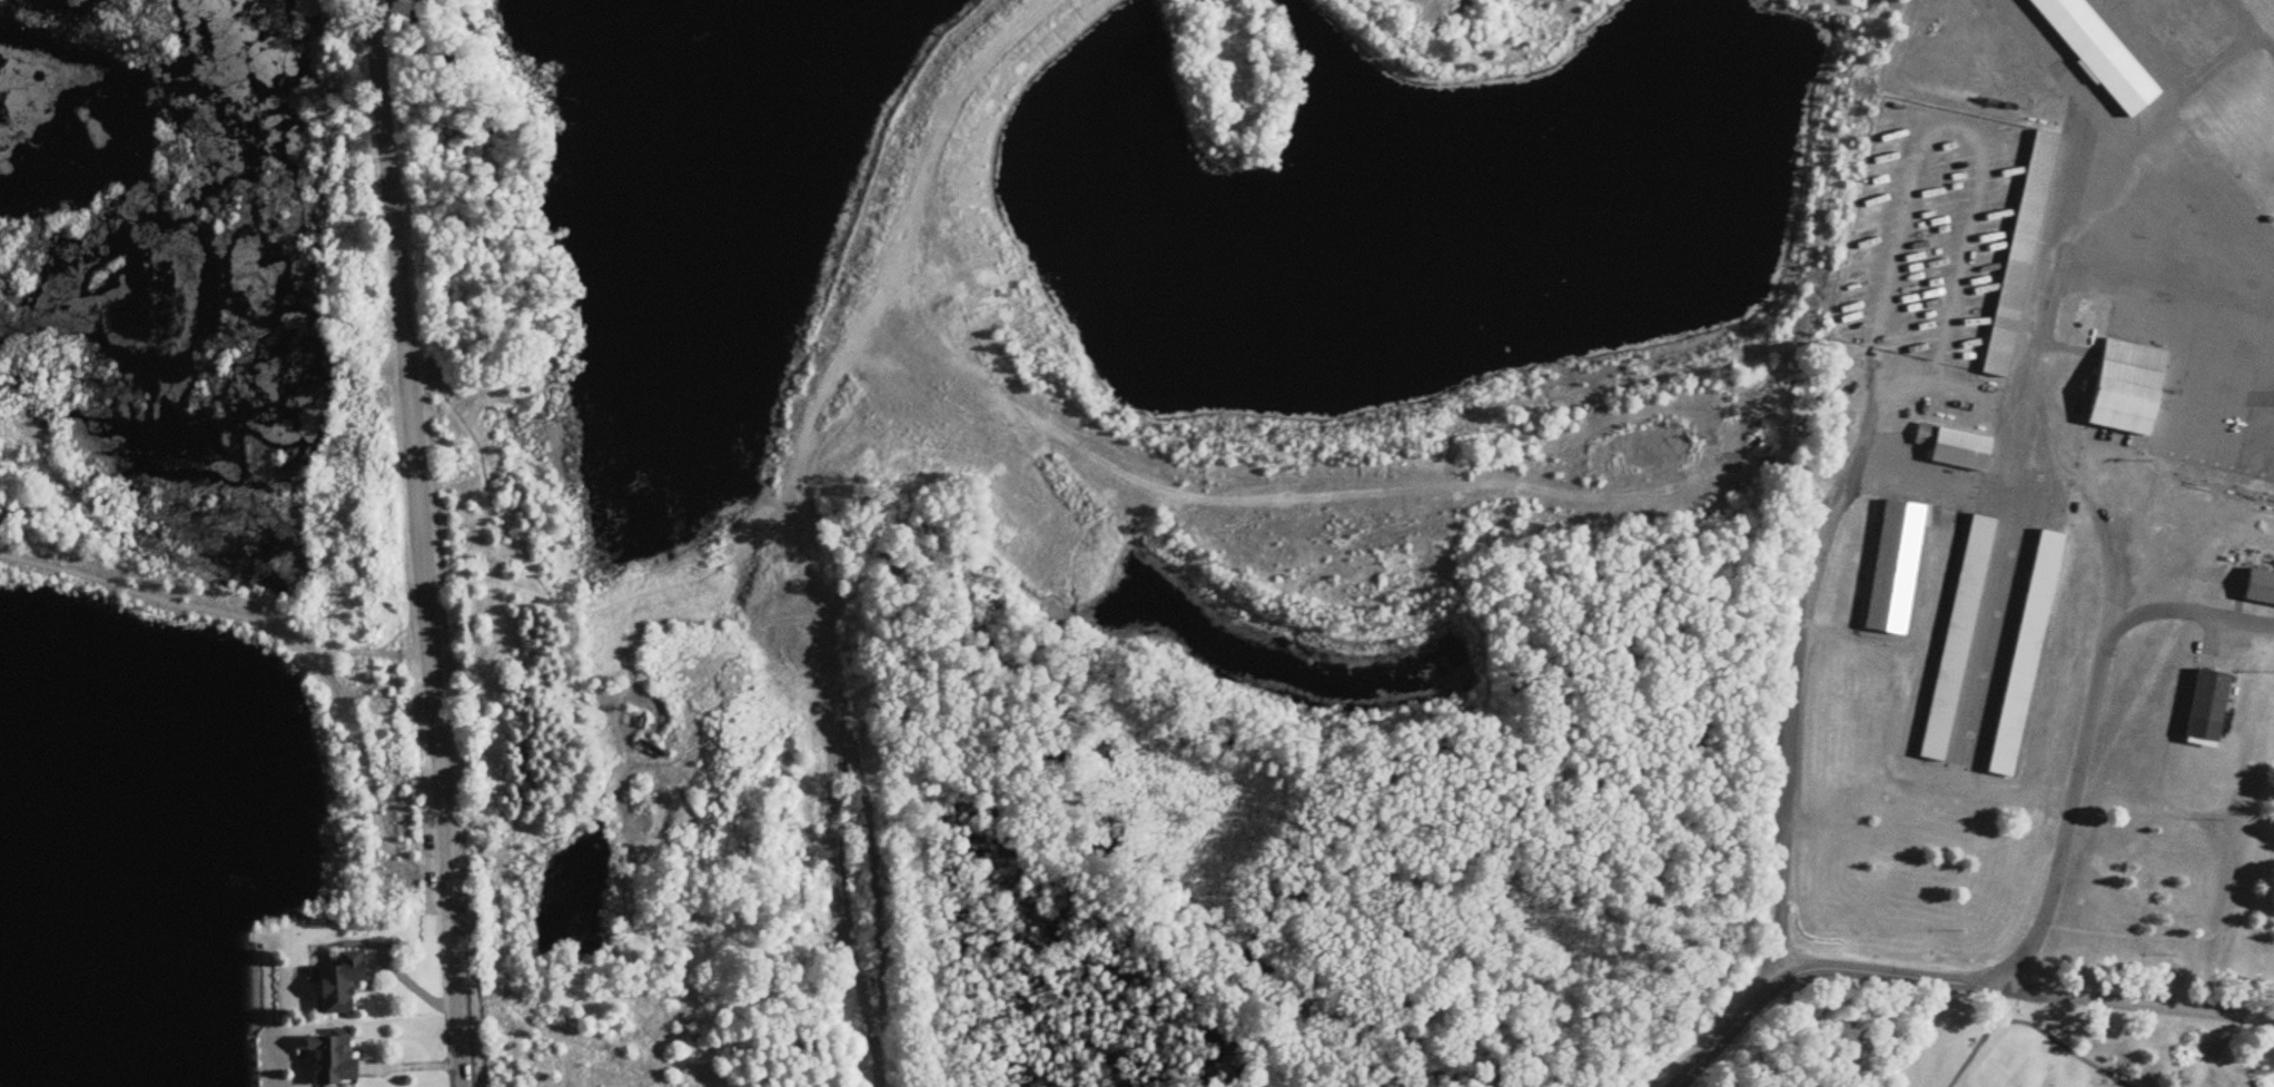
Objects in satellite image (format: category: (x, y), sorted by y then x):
road: (1436, 10)
airport taxiway: (2254, 22)
airport hangar: (2097, 53)
building: (2097, 53)
airport taxiway: (2186, 81)
road: (1957, 136)
airport apron: (2153, 247)
airport hangar: (2019, 257)
building: (2019, 257)
road: (843, 347)
road: (1902, 376)
airport hangar: (2126, 389)
building: (2126, 389)
airport hangar: (1951, 447)
building: (1951, 447)
road: (2155, 488)
road: (2192, 522)
road: (2105, 534)
road: (419, 543)
airport apron: (1988, 564)
road: (712, 566)
airport hangar: (1894, 569)
building: (1894, 569)
road: (1935, 574)
building: (2260, 587)
road: (690, 614)
airport hangar: (1957, 639)
building: (1957, 639)
airport hangar: (2025, 655)
building: (2025, 655)
road: (1797, 660)
building: (2207, 709)
road: (2084, 734)
road: (1904, 735)
road: (471, 854)
road: (838, 912)
road: (1945, 981)
building: (339, 984)
road: (476, 1004)
park: (1994, 1050)
building: (332, 1060)

